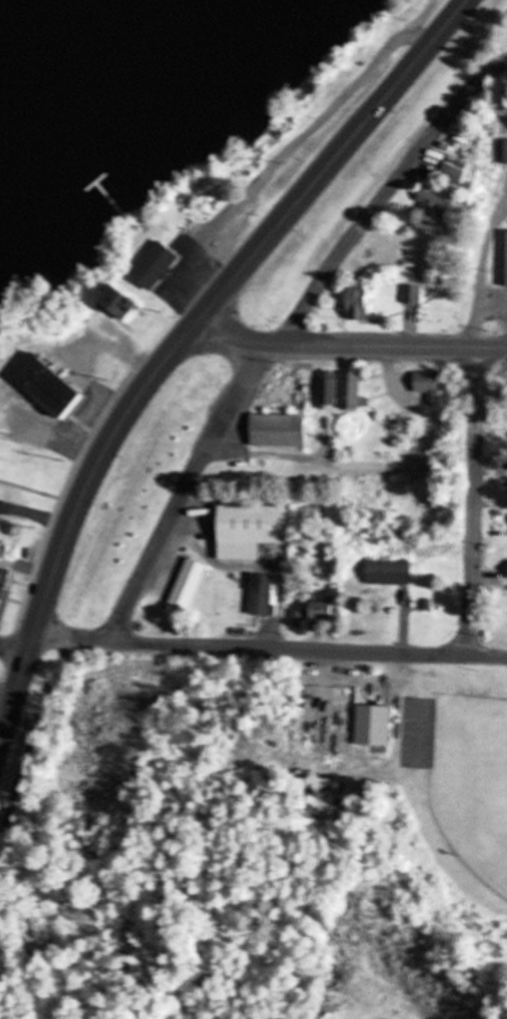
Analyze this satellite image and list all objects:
building: (465, 139)
road: (333, 155)
building: (506, 155)
park: (257, 163)
building: (453, 175)
building: (435, 204)
building: (155, 264)
building: (413, 295)
building: (117, 301)
building: (358, 304)
road: (278, 331)
road: (349, 346)
building: (46, 383)
building: (429, 386)
building: (328, 389)
building: (352, 391)
road: (180, 419)
building: (279, 431)
road: (338, 462)
road: (477, 478)
building: (201, 503)
road: (73, 511)
building: (250, 531)
building: (391, 573)
building: (188, 585)
building: (3, 587)
building: (262, 596)
building: (321, 610)
road: (14, 642)
road: (270, 648)
building: (374, 726)
park: (472, 781)

